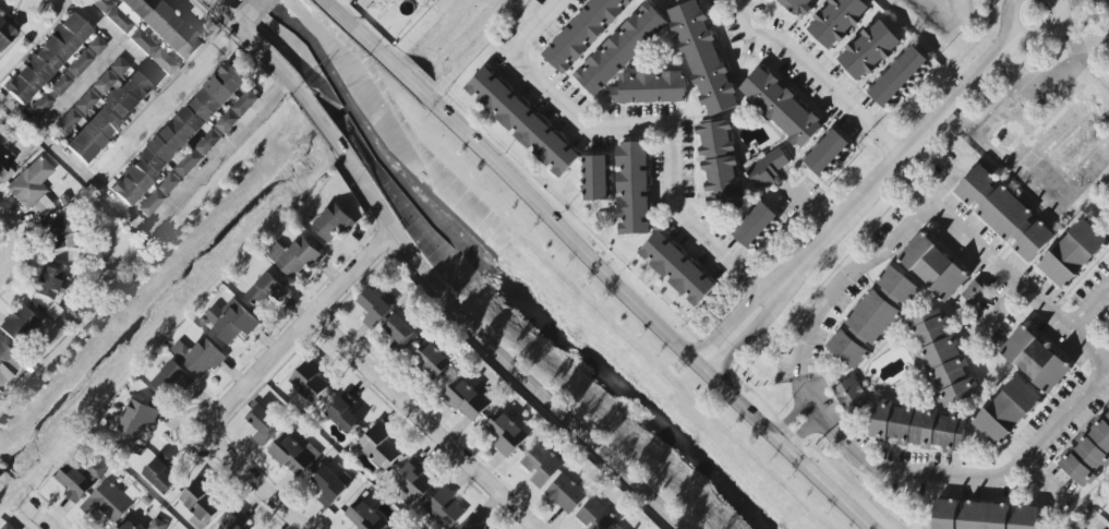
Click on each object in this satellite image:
road: (1064, 2)
building: (103, 5)
building: (372, 7)
building: (799, 7)
road: (254, 10)
building: (120, 20)
building: (836, 21)
road: (241, 23)
building: (165, 26)
building: (583, 33)
building: (5, 34)
road: (1036, 39)
road: (122, 41)
building: (96, 46)
building: (620, 49)
building: (869, 50)
building: (153, 52)
building: (703, 58)
building: (46, 59)
road: (808, 62)
building: (80, 63)
building: (119, 67)
building: (897, 76)
building: (104, 83)
building: (60, 84)
road: (82, 87)
building: (650, 88)
building: (86, 103)
building: (41, 104)
building: (781, 108)
building: (237, 112)
building: (109, 118)
building: (67, 122)
building: (522, 122)
road: (628, 128)
building: (178, 135)
building: (197, 153)
building: (825, 153)
building: (3, 165)
building: (720, 165)
road: (897, 167)
building: (767, 170)
building: (595, 178)
building: (168, 184)
building: (32, 188)
building: (632, 189)
building: (150, 203)
road: (812, 212)
building: (1004, 214)
building: (332, 224)
building: (755, 225)
road: (147, 228)
building: (59, 233)
road: (2, 241)
road: (986, 251)
building: (1072, 253)
building: (294, 256)
road: (3, 261)
road: (594, 267)
building: (933, 267)
building: (676, 268)
road: (429, 278)
road: (757, 284)
building: (49, 288)
building: (266, 291)
building: (973, 292)
building: (374, 309)
road: (1011, 309)
road: (1092, 310)
building: (872, 317)
building: (231, 321)
road: (728, 323)
building: (19, 324)
road: (301, 325)
building: (400, 330)
road: (746, 337)
building: (4, 357)
building: (200, 357)
building: (943, 359)
building: (432, 360)
building: (1035, 360)
building: (172, 378)
building: (309, 381)
building: (851, 395)
building: (466, 400)
building: (1006, 411)
building: (343, 417)
building: (137, 419)
road: (423, 422)
building: (263, 424)
road: (804, 426)
building: (918, 426)
building: (506, 434)
road: (857, 445)
building: (378, 447)
building: (1088, 453)
building: (294, 454)
building: (541, 465)
building: (160, 477)
building: (413, 480)
road: (252, 481)
building: (74, 484)
road: (1050, 484)
building: (328, 486)
building: (566, 494)
building: (107, 503)
building: (200, 506)
building: (444, 508)
building: (364, 516)
building: (595, 516)
building: (983, 516)
road: (37, 517)
building: (196, 524)
building: (232, 524)
building: (473, 524)
building: (157, 525)
building: (128, 526)
building: (8, 527)
building: (618, 528)

